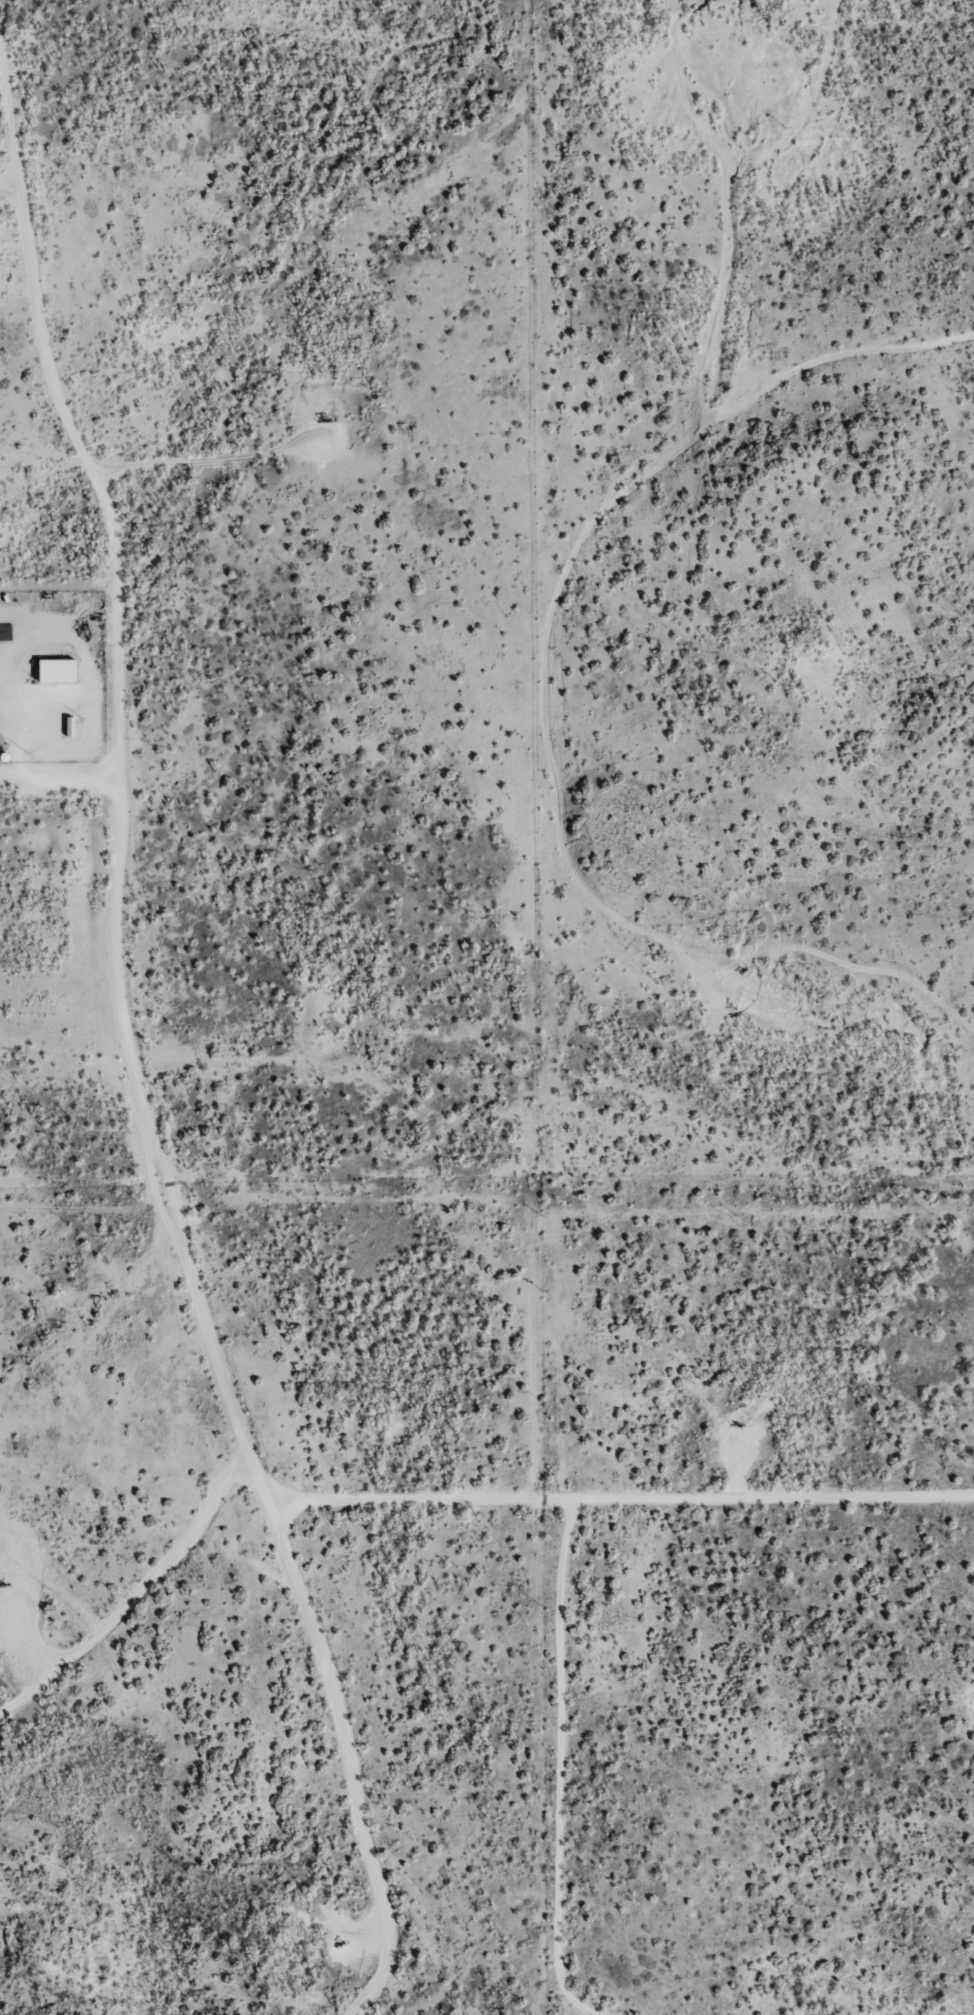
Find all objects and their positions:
road: (760, 208)
road: (808, 415)
building: (57, 668)
building: (74, 727)
road: (45, 815)
road: (126, 1174)
road: (123, 1624)
road: (676, 1781)

